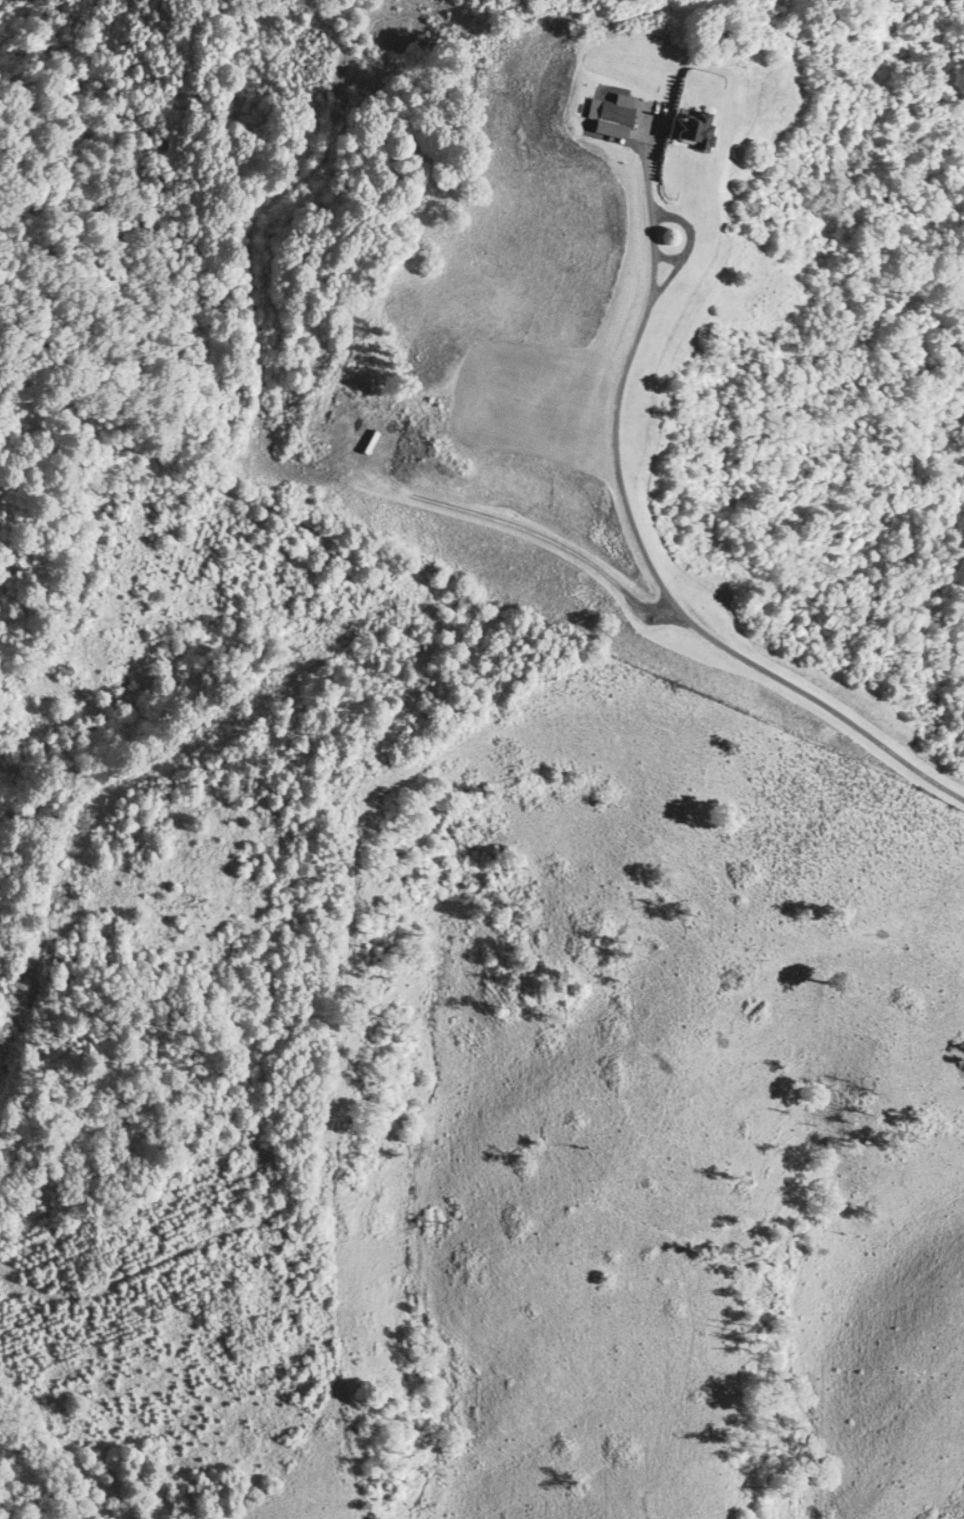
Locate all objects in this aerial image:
building: (616, 114)
building: (695, 129)
road: (668, 604)

